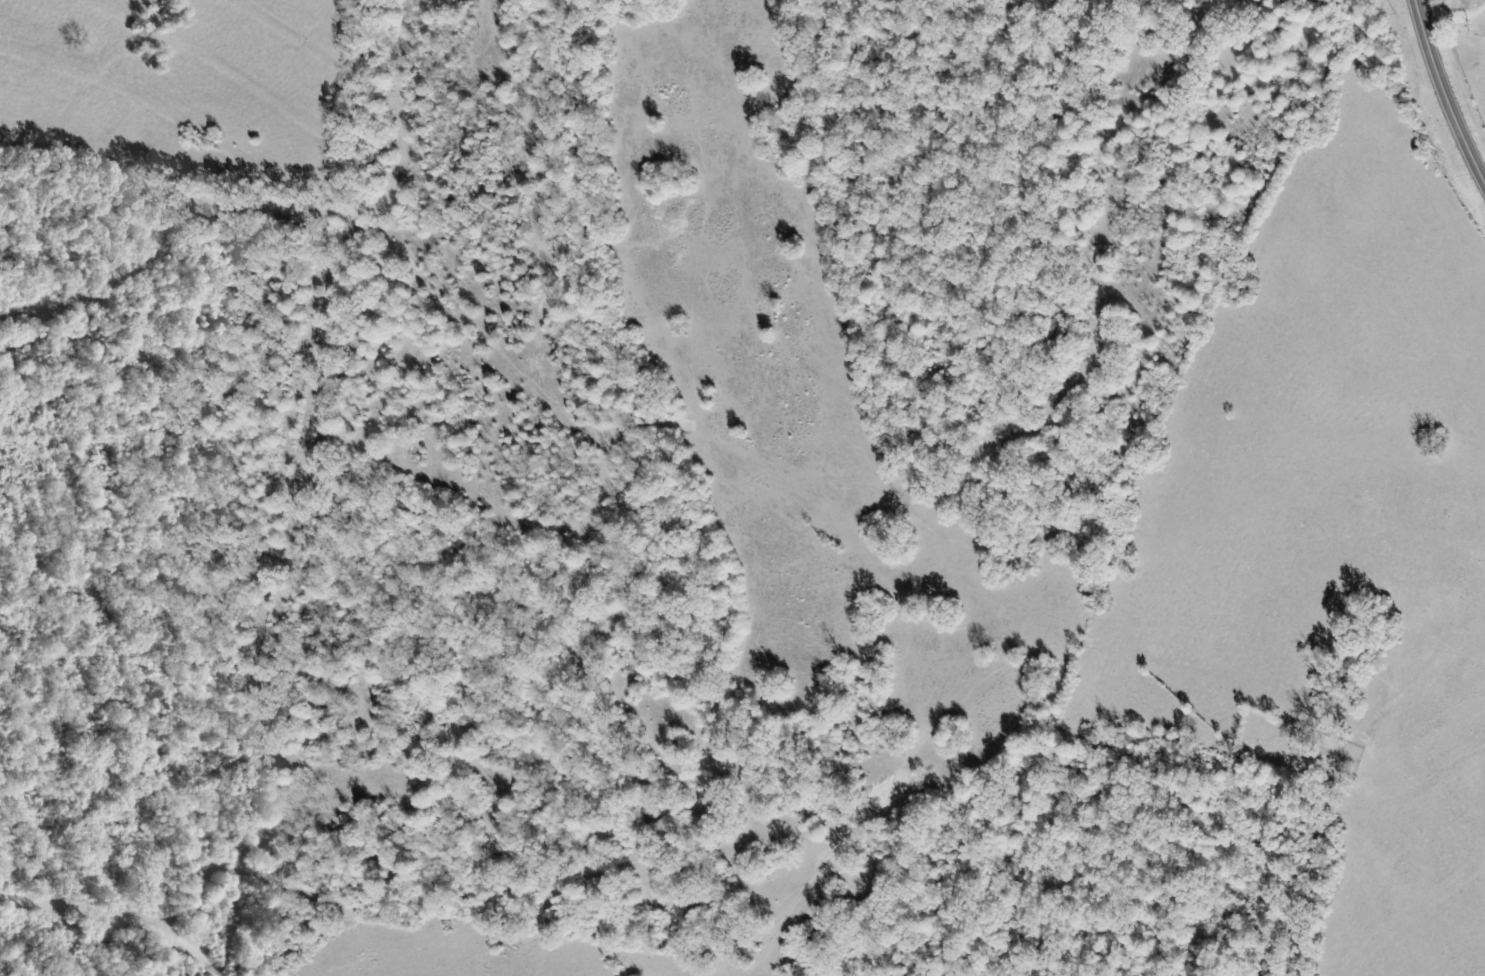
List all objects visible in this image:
road: (1444, 92)

